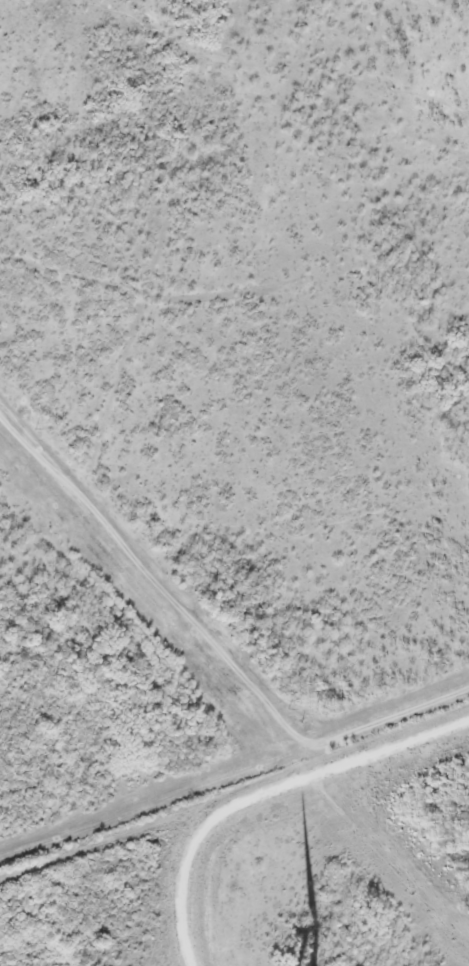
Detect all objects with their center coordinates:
road: (234, 825)

